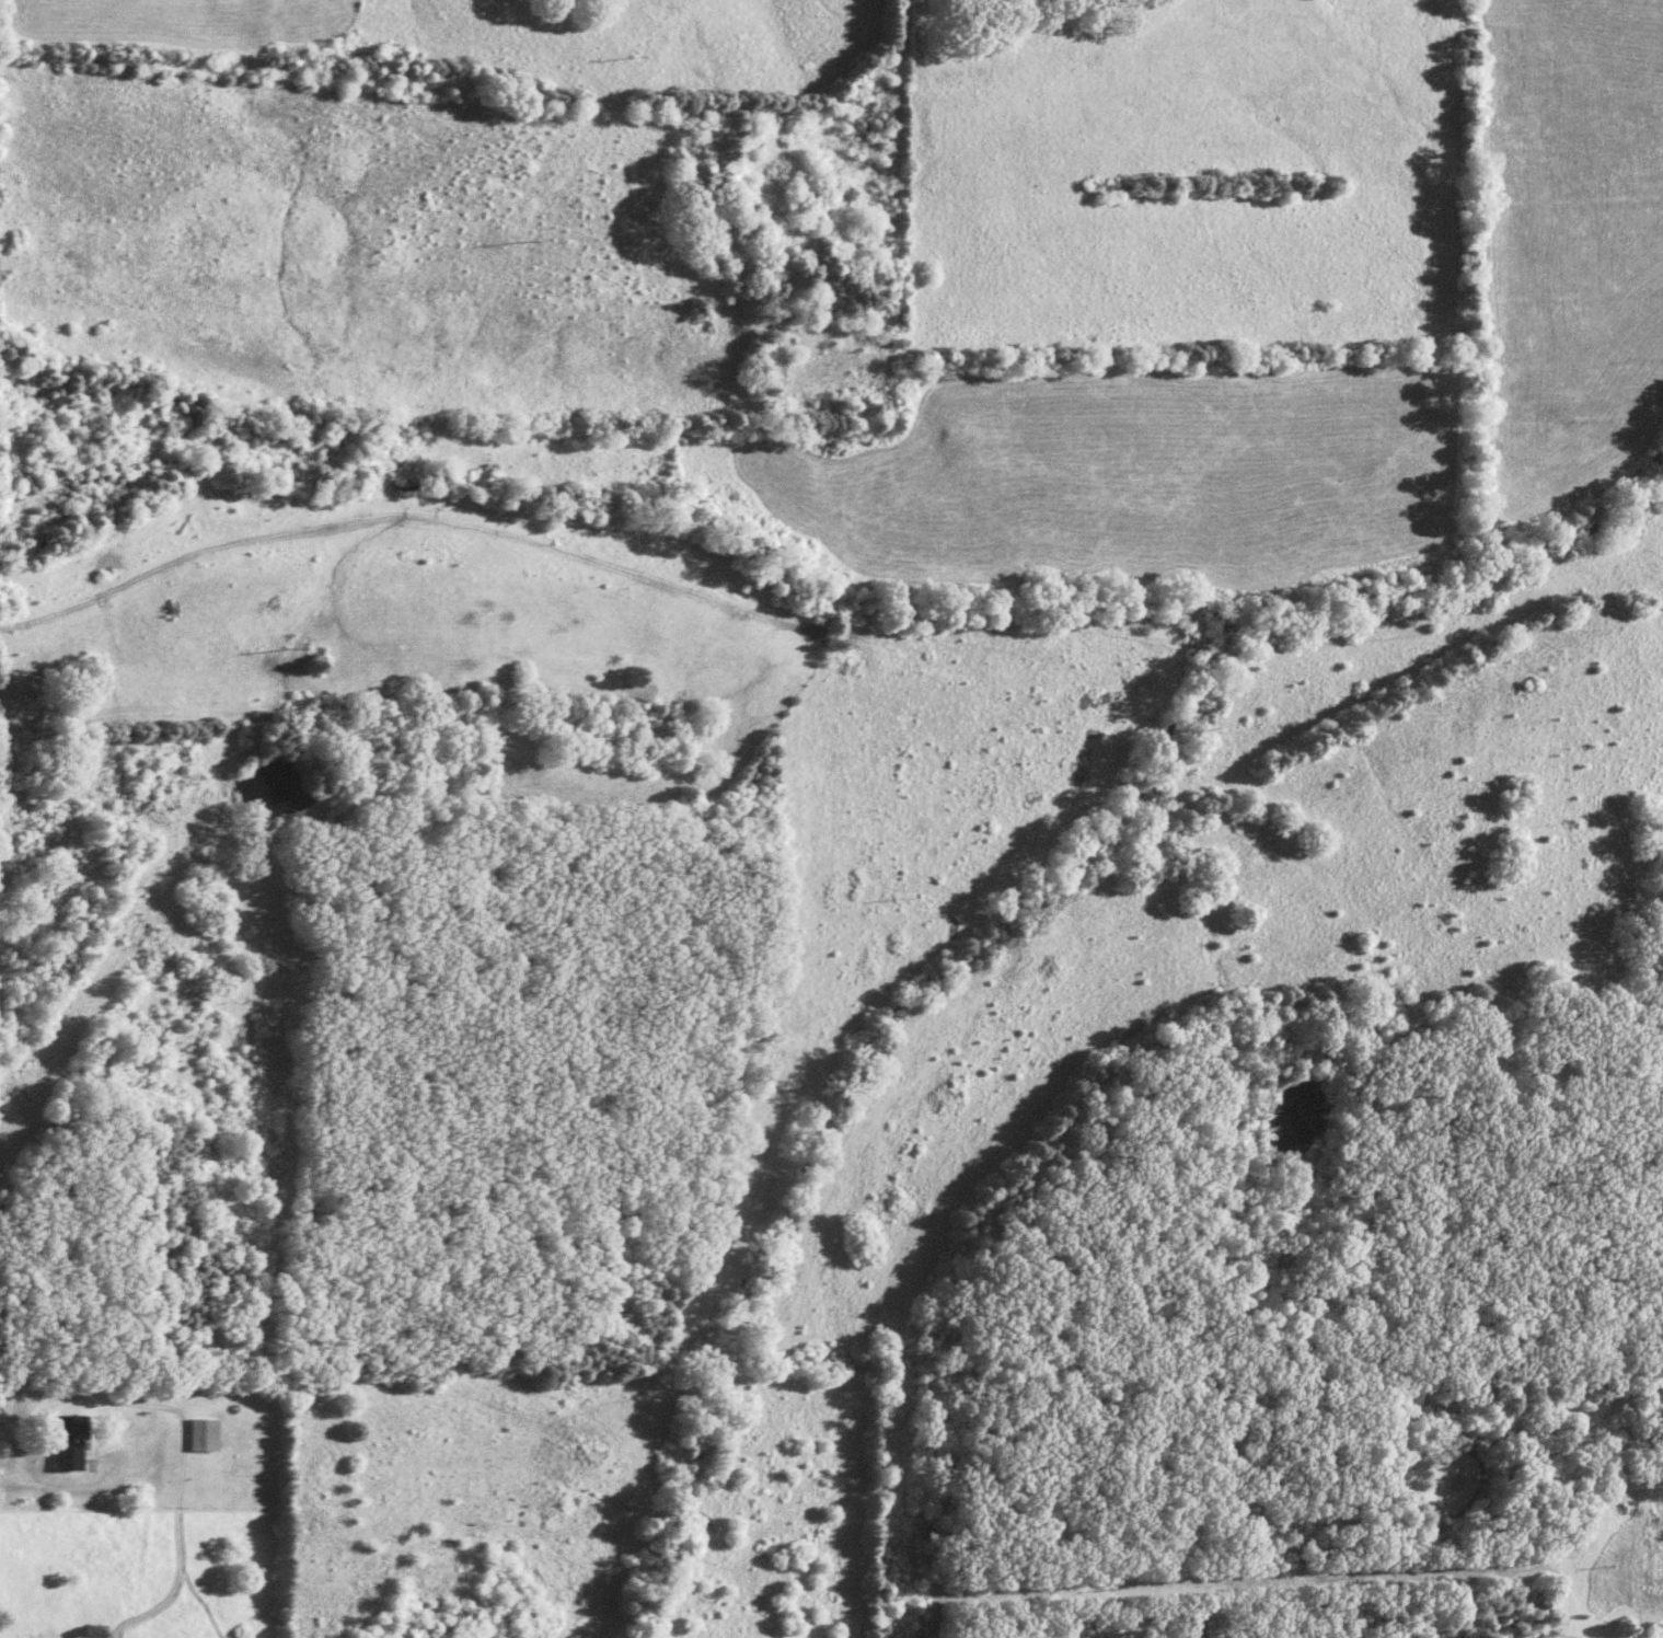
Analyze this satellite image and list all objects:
road: (86, 1407)
building: (210, 1434)
building: (74, 1439)
building: (1201, 1627)

